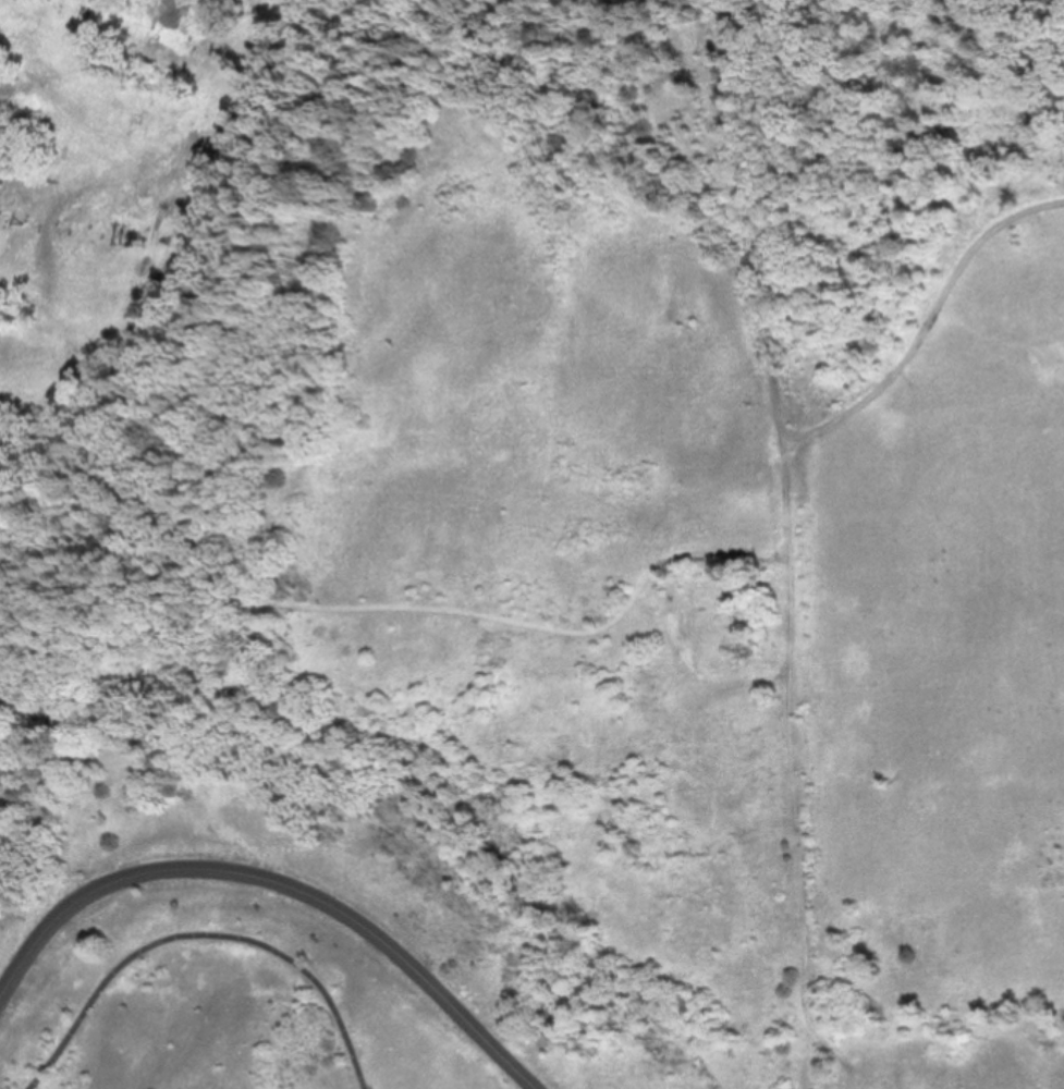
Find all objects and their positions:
aerialway pylon: (84, 13)
aerialway pylon: (213, 50)
ski resort: (132, 159)
aerialway pylon: (20, 222)
road: (774, 222)
road: (933, 323)
road: (795, 497)
park: (578, 594)
road: (392, 600)
road: (797, 820)
road: (276, 889)
road: (204, 933)
road: (841, 1052)

